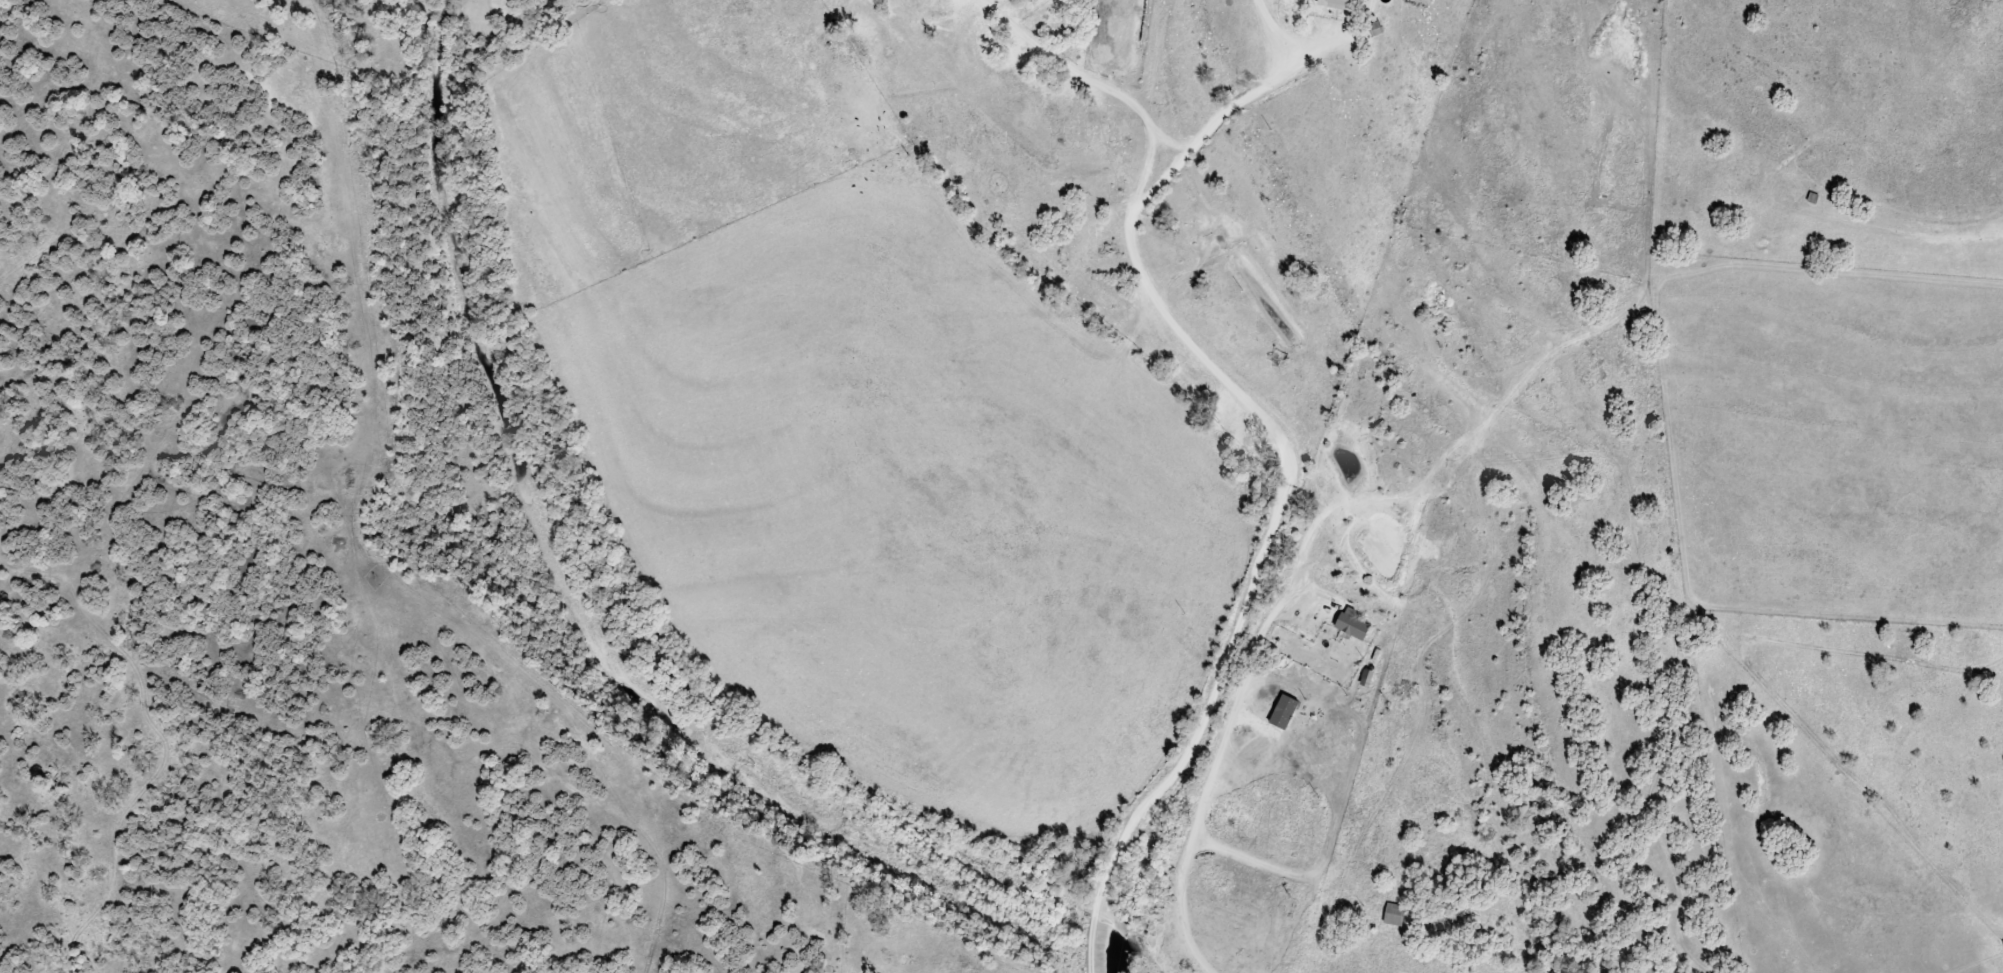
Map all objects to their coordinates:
building: (1334, 4)
road: (1273, 40)
road: (1290, 41)
road: (1229, 112)
road: (1171, 145)
road: (1278, 441)
building: (1353, 626)
building: (1275, 706)
road: (1210, 779)
building: (1391, 915)

